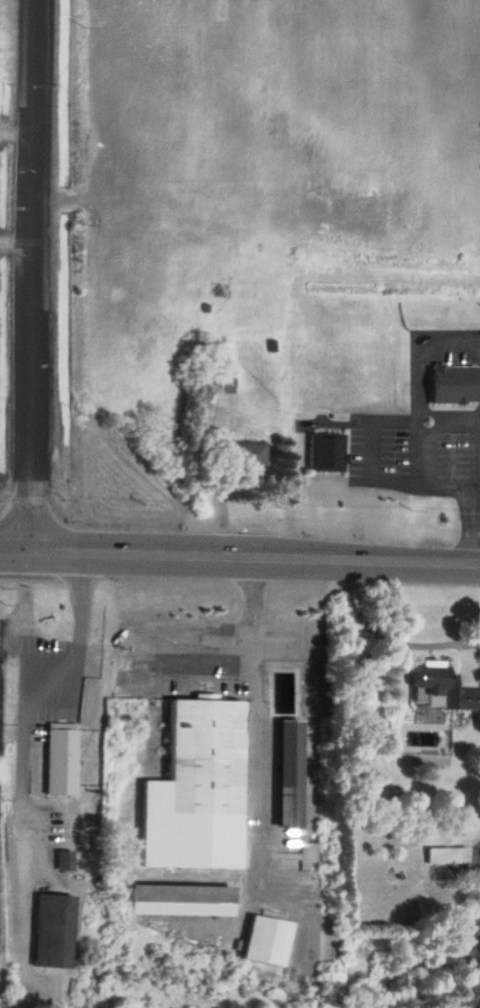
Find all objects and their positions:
road: (31, 274)
building: (453, 384)
building: (246, 453)
road: (14, 547)
road: (166, 551)
road: (391, 557)
building: (431, 678)
building: (205, 754)
building: (61, 760)
building: (289, 771)
building: (445, 854)
building: (182, 898)
building: (54, 929)
building: (266, 938)

